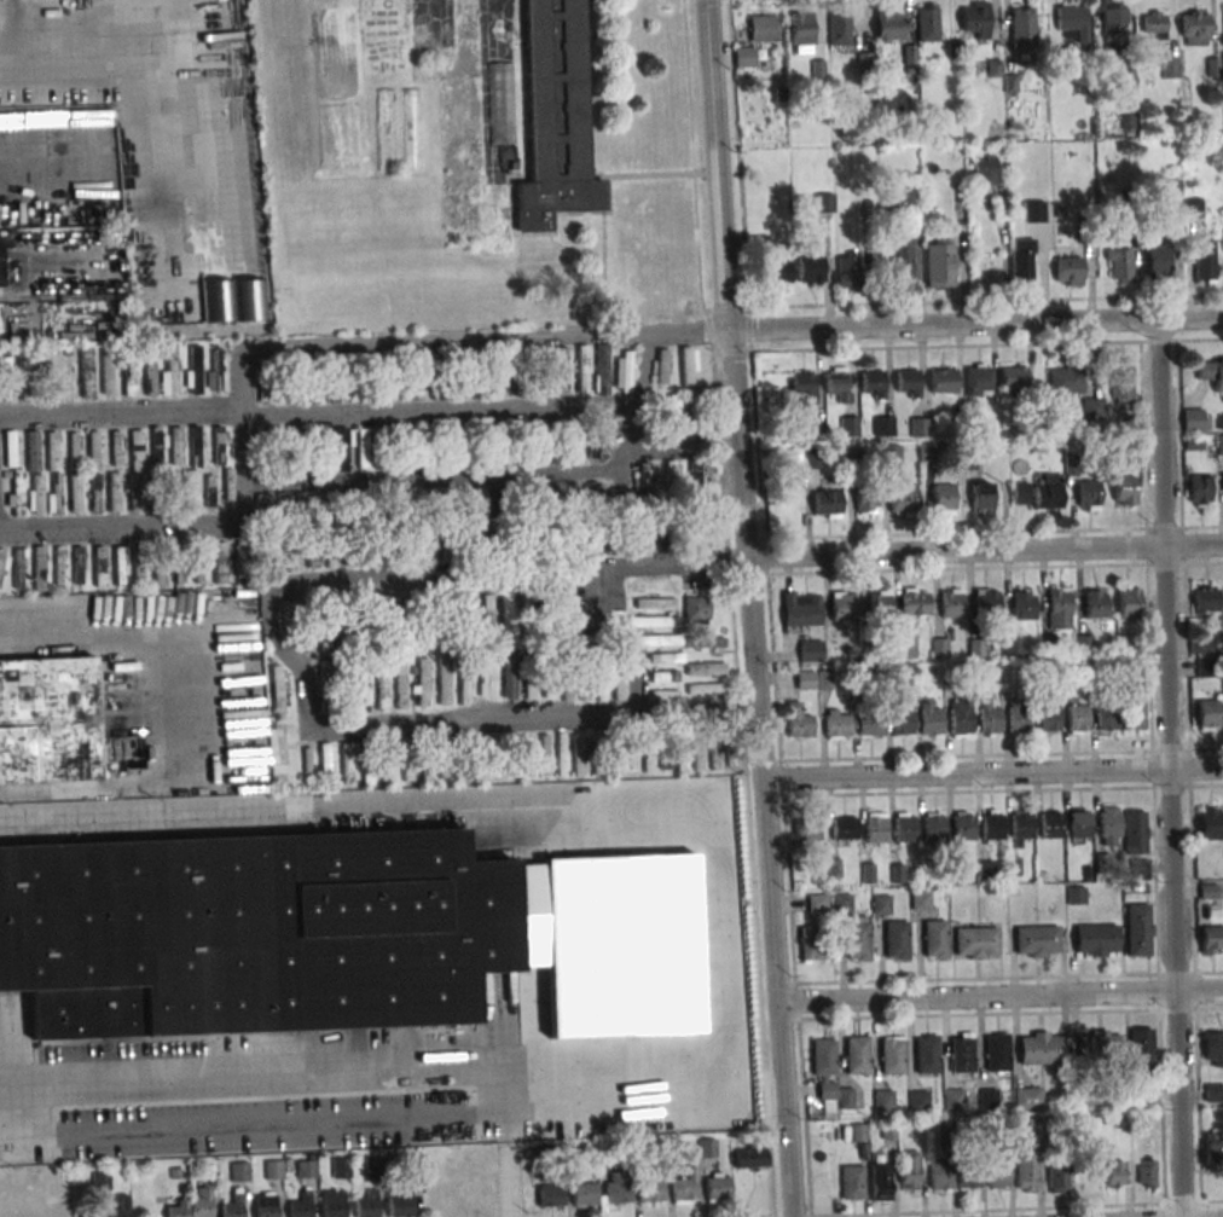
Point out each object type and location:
building: (1113, 17)
building: (976, 18)
building: (1073, 21)
building: (927, 22)
building: (1153, 24)
building: (889, 27)
building: (763, 28)
building: (839, 28)
building: (1022, 28)
building: (1194, 28)
building: (801, 33)
building: (744, 57)
road: (166, 100)
building: (556, 116)
building: (386, 129)
building: (411, 129)
road: (13, 134)
building: (984, 170)
building: (910, 196)
building: (1172, 196)
building: (824, 203)
building: (1033, 211)
building: (1, 260)
building: (902, 260)
building: (1022, 260)
building: (1157, 261)
building: (939, 263)
building: (1205, 263)
building: (1119, 265)
building: (811, 268)
building: (848, 270)
building: (1068, 271)
building: (779, 272)
building: (249, 300)
road: (975, 320)
building: (0, 324)
building: (74, 334)
road: (396, 338)
building: (46, 366)
building: (661, 366)
building: (689, 366)
building: (601, 367)
building: (169, 369)
building: (193, 369)
building: (582, 369)
building: (214, 370)
building: (86, 371)
building: (561, 371)
building: (624, 371)
building: (1211, 372)
building: (106, 375)
building: (150, 376)
building: (128, 377)
building: (1013, 377)
building: (5, 378)
building: (25, 378)
building: (943, 379)
building: (979, 379)
building: (1065, 379)
building: (1121, 381)
building: (908, 383)
building: (500, 384)
building: (836, 384)
building: (873, 384)
building: (539, 387)
building: (416, 388)
building: (804, 388)
building: (269, 390)
building: (350, 392)
building: (393, 392)
building: (329, 394)
road: (383, 405)
building: (696, 412)
building: (674, 413)
building: (1192, 419)
building: (850, 425)
building: (883, 425)
building: (920, 427)
building: (319, 435)
building: (1219, 444)
building: (176, 445)
building: (195, 445)
building: (218, 445)
building: (10, 448)
building: (116, 448)
building: (157, 448)
building: (341, 448)
building: (361, 448)
building: (569, 448)
building: (135, 450)
building: (52, 451)
building: (74, 451)
building: (94, 451)
building: (928, 453)
building: (891, 454)
road: (622, 457)
building: (811, 458)
building: (319, 463)
building: (34, 471)
road: (430, 477)
building: (672, 477)
building: (647, 481)
building: (228, 483)
building: (191, 489)
building: (1124, 489)
building: (208, 491)
building: (1199, 491)
building: (75, 492)
building: (114, 492)
building: (133, 492)
building: (1019, 492)
building: (1048, 492)
building: (15, 493)
building: (54, 493)
building: (95, 494)
building: (563, 494)
building: (1088, 494)
building: (903, 497)
building: (981, 497)
building: (329, 498)
building: (619, 498)
building: (943, 499)
building: (864, 500)
building: (825, 502)
building: (261, 505)
building: (280, 505)
building: (303, 505)
road: (162, 528)
building: (482, 533)
building: (696, 538)
building: (656, 539)
building: (586, 541)
building: (429, 544)
building: (407, 549)
building: (312, 551)
building: (329, 551)
road: (984, 552)
building: (292, 555)
building: (273, 556)
building: (242, 560)
building: (220, 562)
building: (79, 564)
building: (138, 564)
building: (18, 566)
building: (59, 566)
building: (99, 566)
building: (118, 566)
building: (199, 566)
building: (2, 568)
building: (39, 568)
building: (180, 568)
building: (158, 570)
road: (505, 576)
building: (651, 585)
building: (1205, 599)
building: (986, 601)
building: (880, 602)
building: (915, 602)
building: (566, 603)
building: (655, 603)
building: (951, 603)
building: (1024, 603)
building: (1095, 603)
building: (1129, 603)
building: (842, 605)
road: (749, 608)
building: (1059, 608)
building: (696, 609)
building: (466, 612)
building: (801, 612)
building: (487, 614)
building: (291, 615)
building: (506, 615)
building: (654, 621)
building: (564, 632)
building: (324, 636)
building: (655, 641)
building: (703, 642)
building: (1083, 644)
building: (1131, 644)
road: (616, 645)
building: (1200, 645)
building: (1013, 647)
building: (810, 651)
building: (706, 668)
building: (661, 670)
building: (509, 674)
building: (488, 676)
building: (529, 679)
building: (805, 679)
building: (444, 680)
building: (619, 680)
building: (824, 680)
building: (422, 682)
building: (325, 683)
building: (400, 683)
building: (465, 689)
building: (706, 689)
building: (277, 690)
building: (361, 690)
building: (382, 690)
building: (665, 695)
road: (179, 700)
building: (1134, 708)
building: (990, 715)
building: (1019, 715)
building: (1207, 715)
building: (960, 717)
building: (1106, 717)
building: (1048, 718)
building: (1077, 718)
building: (902, 719)
building: (929, 719)
building: (47, 720)
building: (799, 721)
building: (836, 723)
building: (870, 725)
road: (456, 729)
building: (440, 748)
building: (545, 753)
building: (715, 753)
building: (561, 754)
building: (579, 754)
building: (683, 754)
building: (697, 754)
building: (286, 755)
building: (499, 755)
building: (526, 755)
building: (648, 755)
building: (410, 760)
building: (308, 761)
building: (325, 761)
building: (346, 763)
building: (388, 764)
road: (1170, 767)
road: (993, 771)
building: (1210, 823)
building: (991, 824)
building: (1050, 824)
building: (962, 825)
building: (1019, 825)
building: (1079, 825)
building: (1108, 825)
building: (875, 827)
building: (934, 827)
building: (844, 828)
building: (905, 828)
building: (806, 829)
building: (1134, 831)
building: (1076, 894)
building: (920, 900)
building: (817, 903)
building: (842, 903)
building: (881, 904)
building: (1137, 929)
building: (251, 932)
building: (858, 938)
building: (895, 939)
building: (934, 939)
building: (1095, 939)
building: (1211, 939)
building: (811, 941)
building: (1036, 941)
building: (975, 943)
road: (1001, 992)
building: (1099, 1044)
building: (1039, 1048)
building: (1212, 1048)
building: (962, 1051)
building: (996, 1051)
building: (1142, 1051)
building: (926, 1054)
building: (857, 1055)
building: (891, 1055)
building: (823, 1068)
road: (272, 1073)
building: (1213, 1091)
building: (1027, 1097)
building: (987, 1099)
building: (918, 1100)
building: (954, 1100)
building: (1085, 1100)
building: (883, 1101)
building: (1213, 1146)
building: (707, 1148)
building: (749, 1157)
building: (340, 1167)
building: (306, 1169)
building: (273, 1170)
building: (909, 1170)
building: (239, 1171)
building: (1027, 1171)
building: (1146, 1172)
building: (969, 1173)
building: (998, 1173)
building: (1057, 1173)
building: (1114, 1173)
building: (880, 1176)
building: (939, 1176)
building: (852, 1182)
road: (511, 1186)
building: (616, 1187)
building: (685, 1187)
building: (718, 1188)
building: (651, 1190)
building: (585, 1194)
building: (551, 1195)
building: (201, 1201)
building: (332, 1202)
building: (366, 1202)
building: (400, 1202)
building: (265, 1204)
building: (118, 1205)
building: (233, 1205)
building: (301, 1205)
building: (176, 1207)

